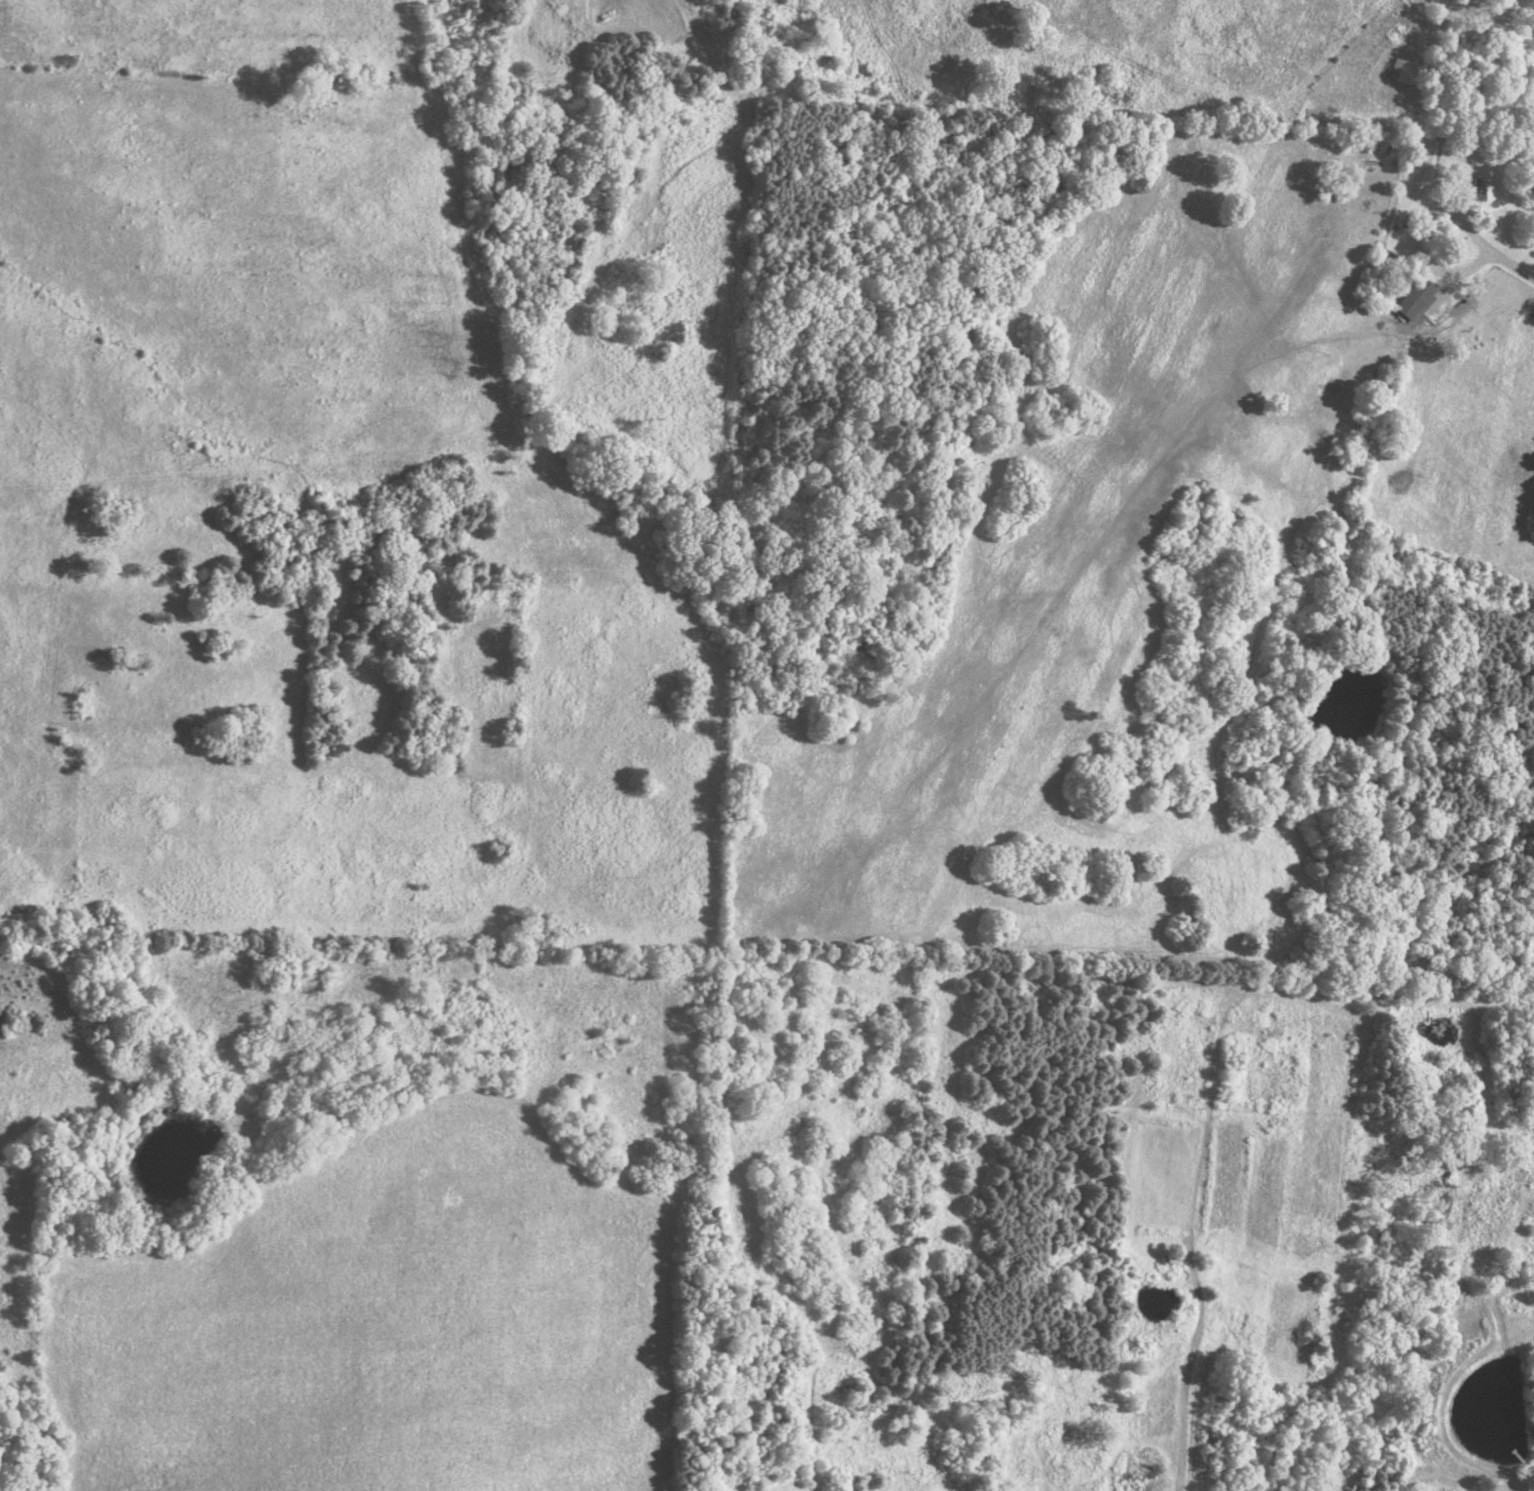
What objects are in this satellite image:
road: (1454, 16)
building: (1404, 72)
building: (1472, 189)
road: (1434, 260)
road: (1517, 271)
building: (1417, 300)

